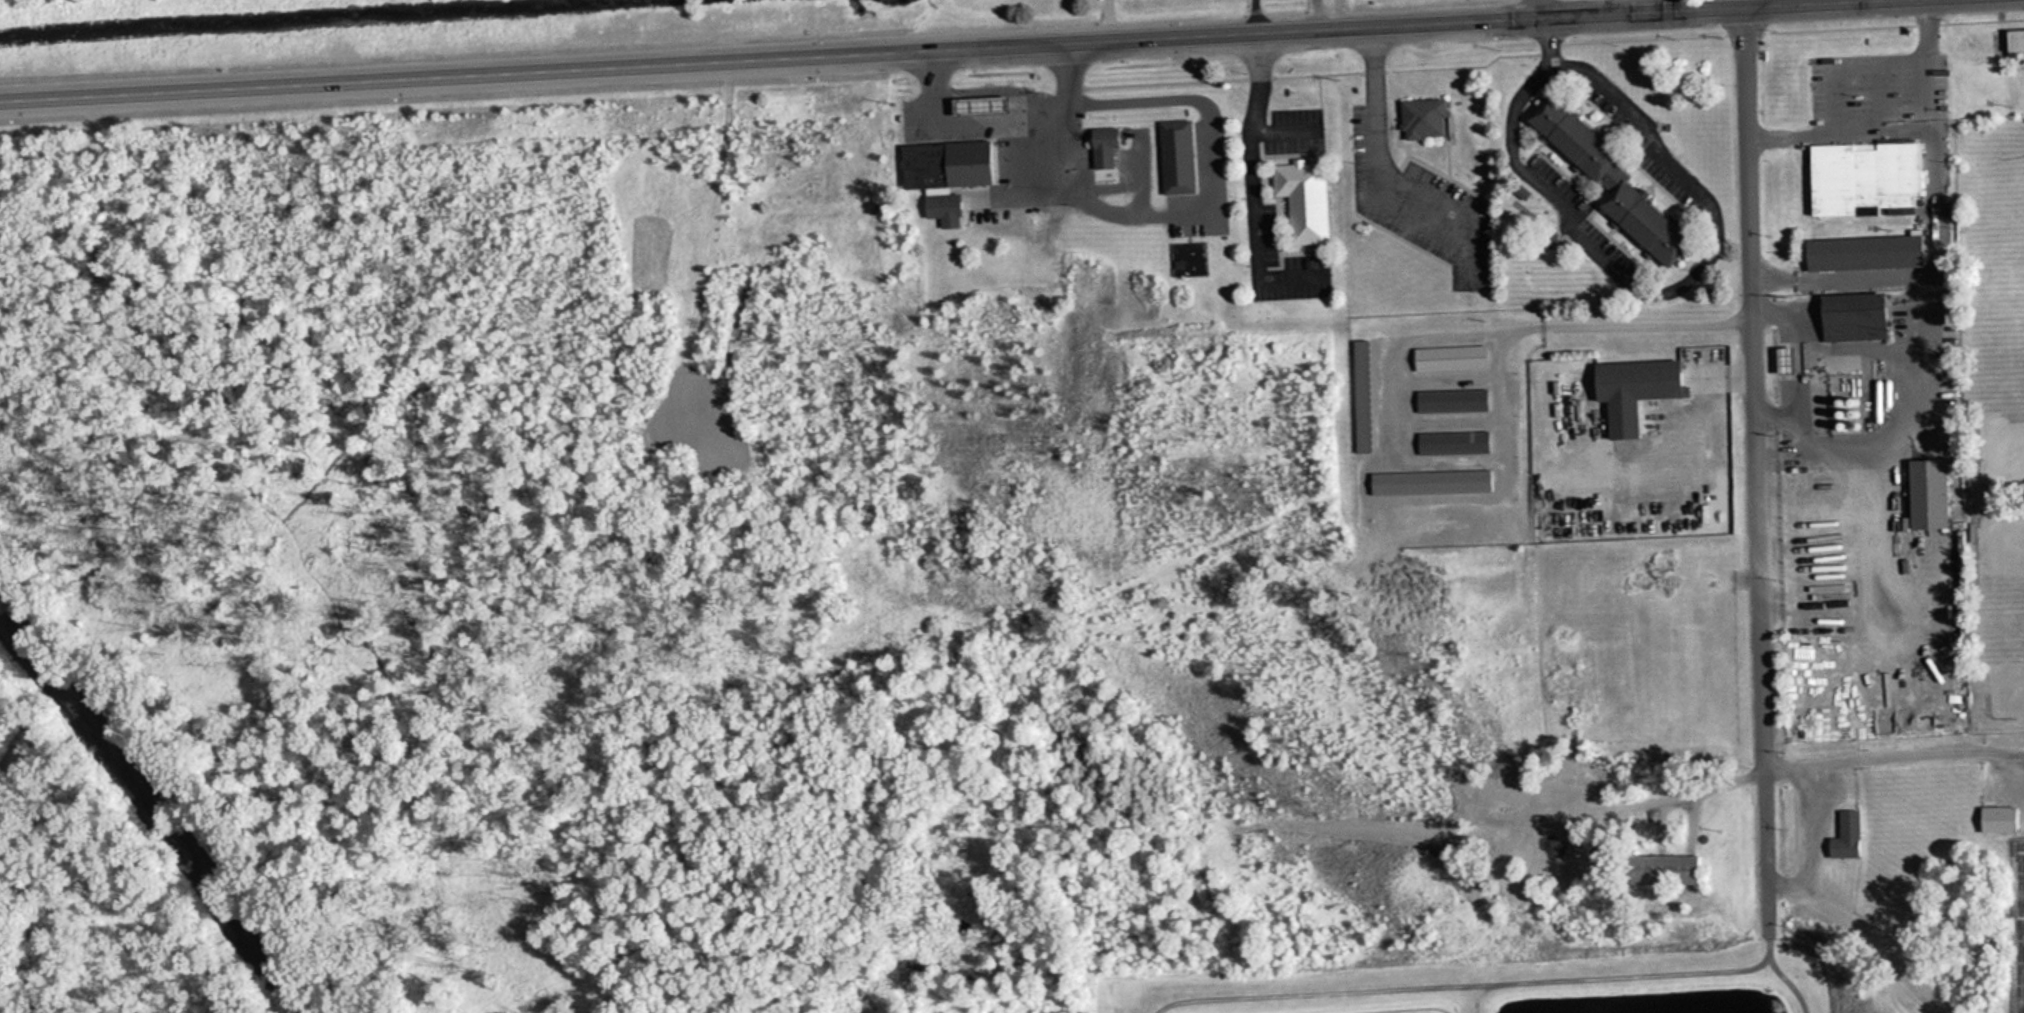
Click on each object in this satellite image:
road: (1533, 8)
road: (1685, 8)
building: (2007, 40)
road: (766, 57)
building: (973, 105)
building: (1418, 118)
building: (1099, 146)
building: (1173, 156)
building: (946, 164)
road: (1382, 178)
building: (1860, 178)
building: (1604, 182)
road: (1252, 187)
building: (1299, 199)
building: (1858, 252)
building: (1445, 358)
building: (1781, 359)
building: (1633, 380)
building: (1448, 401)
building: (1450, 443)
road: (1753, 471)
building: (1830, 473)
building: (1923, 494)
river: (152, 812)
building: (1994, 818)
building: (1842, 836)
building: (1657, 869)

